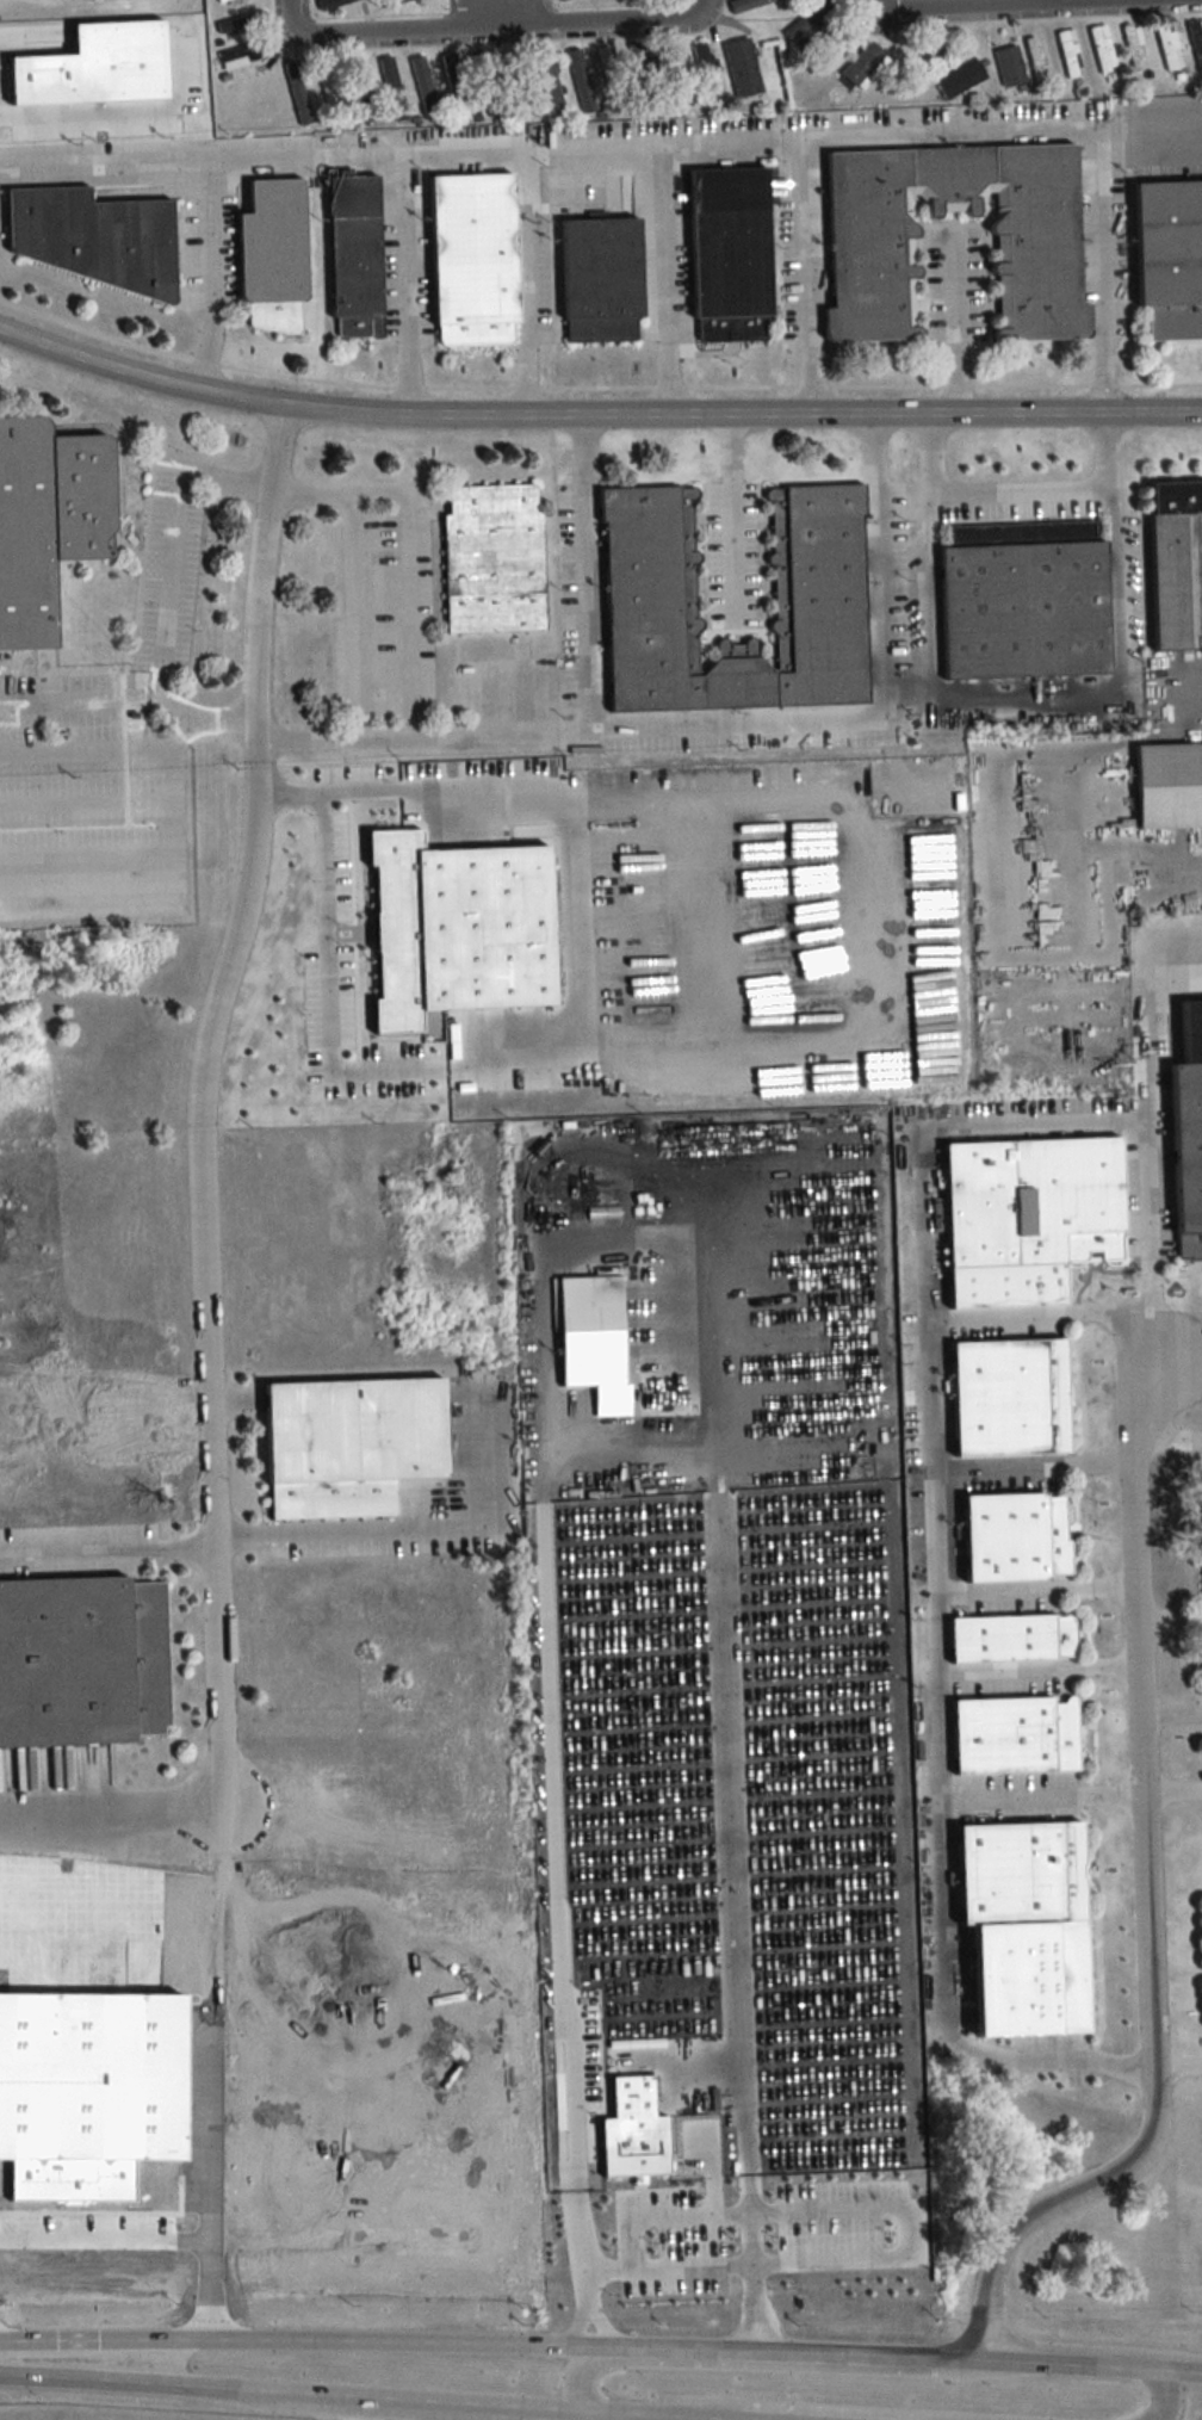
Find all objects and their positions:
building: (562, 0)
road: (875, 1)
building: (227, 2)
road: (1035, 2)
building: (746, 4)
road: (698, 5)
road: (989, 6)
road: (533, 12)
road: (456, 14)
road: (293, 16)
building: (807, 19)
building: (241, 24)
road: (498, 26)
building: (1169, 47)
building: (1102, 48)
building: (1134, 49)
building: (830, 50)
building: (1068, 54)
building: (243, 55)
building: (1036, 61)
building: (865, 66)
building: (1010, 66)
building: (742, 67)
building: (608, 70)
building: (642, 70)
building: (357, 74)
building: (676, 75)
building: (705, 75)
building: (959, 76)
building: (580, 80)
building: (485, 83)
building: (454, 86)
building: (423, 88)
building: (391, 89)
building: (298, 93)
road: (1167, 129)
road: (689, 142)
building: (95, 237)
building: (1037, 250)
building: (731, 254)
building: (274, 255)
building: (357, 256)
building: (1170, 256)
building: (473, 259)
road: (217, 278)
road: (806, 278)
building: (601, 279)
road: (663, 281)
road: (528, 284)
road: (407, 286)
road: (956, 323)
road: (595, 419)
road: (1020, 491)
road: (732, 520)
building: (48, 521)
road: (405, 549)
road: (173, 552)
building: (489, 559)
building: (818, 564)
building: (1177, 564)
road: (589, 575)
building: (1024, 601)
road: (352, 615)
road: (1026, 693)
road: (76, 695)
road: (721, 725)
building: (1170, 785)
road: (316, 790)
road: (175, 836)
road: (562, 908)
road: (328, 973)
road: (202, 1102)
road: (922, 1127)
building: (1189, 1137)
building: (1031, 1218)
road: (1151, 1239)
building: (1011, 1398)
road: (1170, 1435)
building: (353, 1446)
road: (1031, 1471)
road: (417, 1529)
building: (1017, 1539)
road: (107, 1551)
road: (1034, 1591)
road: (1171, 1621)
building: (1012, 1640)
building: (82, 1664)
road: (1037, 1671)
road: (1173, 1708)
building: (1016, 1737)
road: (933, 1787)
road: (1040, 1797)
road: (113, 1822)
building: (1022, 1873)
road: (1151, 1899)
road: (1179, 2067)
road: (679, 2266)
road: (601, 2347)
road: (749, 2366)
road: (1160, 2395)
road: (357, 2396)
road: (359, 2408)
park: (30, 2410)
road: (835, 2412)
road: (591, 2416)
road: (885, 2418)

